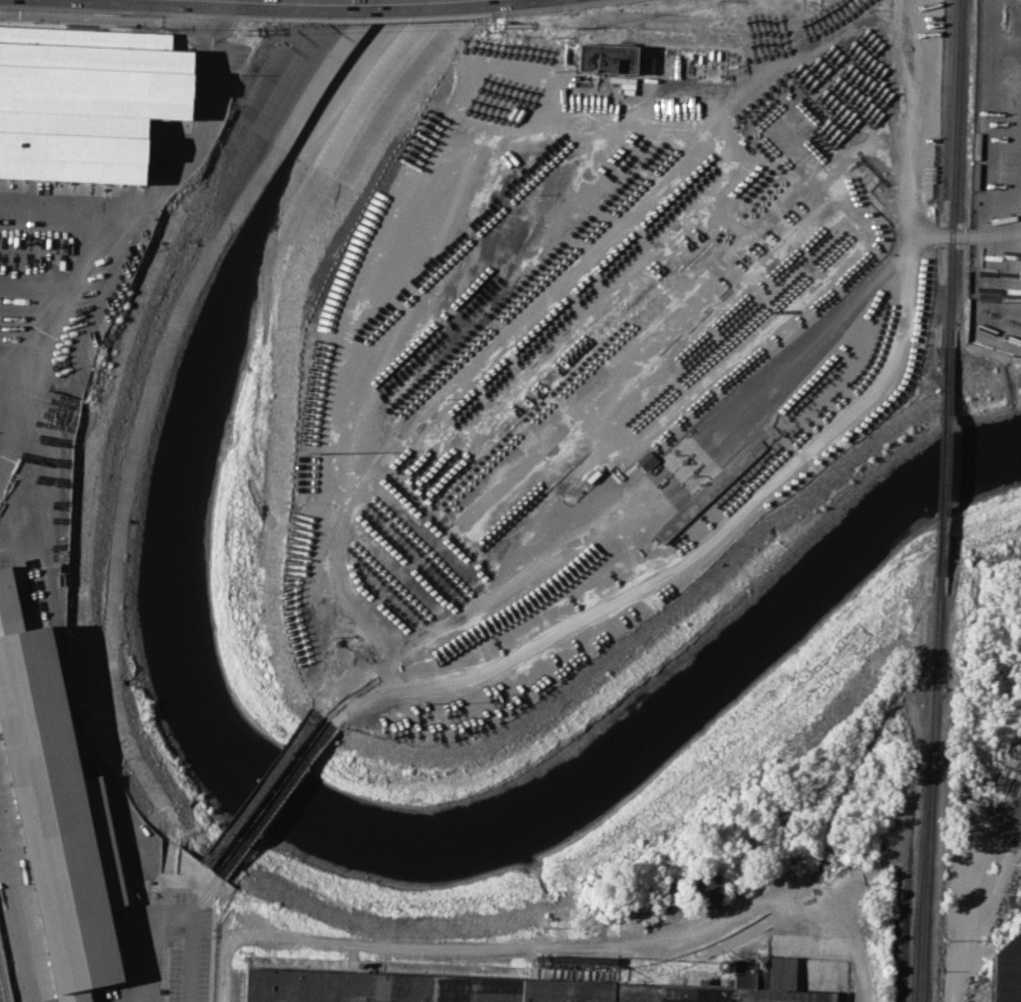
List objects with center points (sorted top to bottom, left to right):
road: (227, 0)
railway: (995, 3)
road: (352, 5)
road: (861, 17)
railway: (906, 25)
building: (606, 57)
building: (81, 95)
railway: (990, 126)
railway: (954, 172)
road: (65, 214)
road: (98, 286)
railway: (945, 457)
building: (644, 458)
road: (19, 544)
railway: (929, 786)
river: (280, 801)
building: (53, 814)
railway: (915, 876)
building: (708, 888)
road: (21, 898)
road: (977, 898)
road: (169, 911)
road: (534, 953)
road: (226, 969)
building: (1005, 972)
railway: (3, 983)
building: (498, 988)

